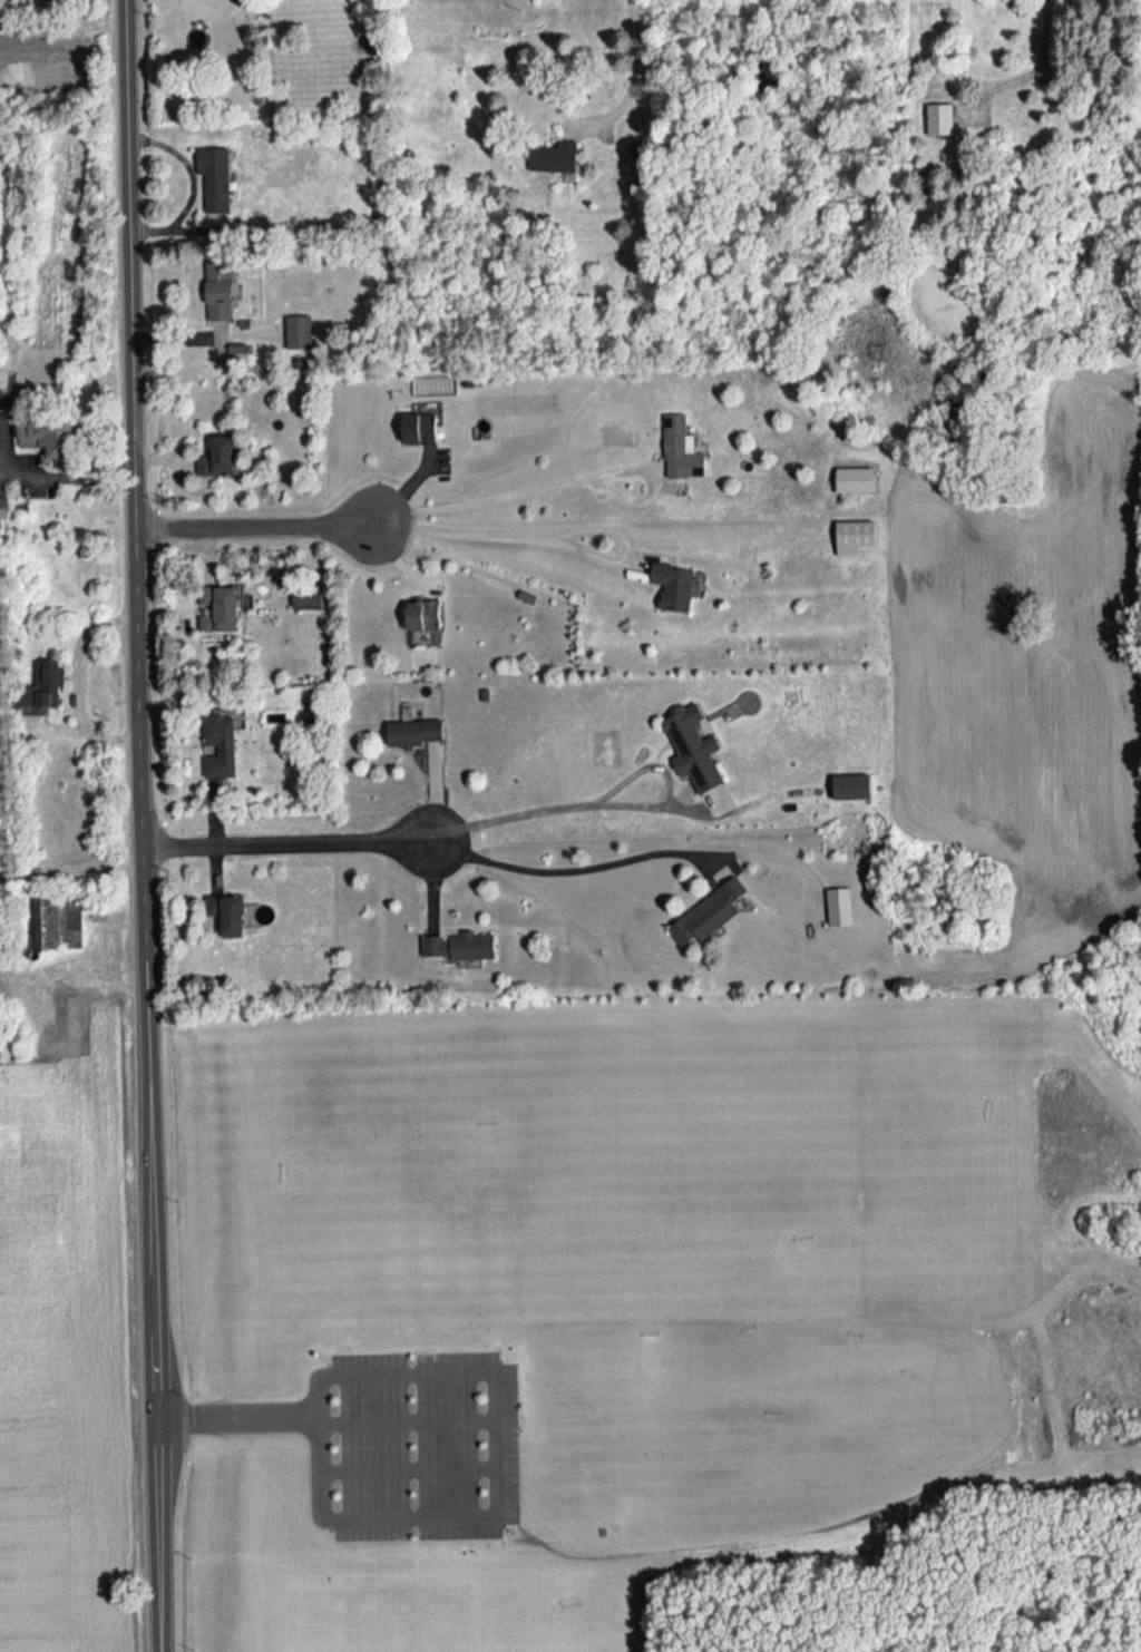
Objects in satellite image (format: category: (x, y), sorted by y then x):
road: (1028, 72)
road: (633, 79)
building: (940, 117)
building: (554, 155)
building: (216, 176)
building: (220, 289)
building: (299, 330)
building: (420, 427)
building: (49, 436)
building: (681, 447)
building: (220, 454)
road: (49, 475)
building: (856, 479)
road: (499, 497)
building: (4, 512)
road: (254, 525)
building: (855, 534)
road: (497, 537)
building: (675, 584)
building: (308, 597)
building: (221, 606)
building: (423, 613)
road: (144, 662)
road: (77, 680)
building: (46, 684)
crop: (1035, 684)
building: (416, 730)
building: (220, 744)
building: (694, 744)
building: (852, 785)
road: (558, 807)
road: (289, 841)
road: (569, 868)
building: (840, 905)
building: (228, 911)
building: (705, 916)
building: (60, 920)
building: (459, 945)
park: (654, 1326)
road: (159, 1371)
road: (240, 1417)
road: (409, 1417)
road: (411, 1467)
road: (503, 1470)
road: (163, 1535)

